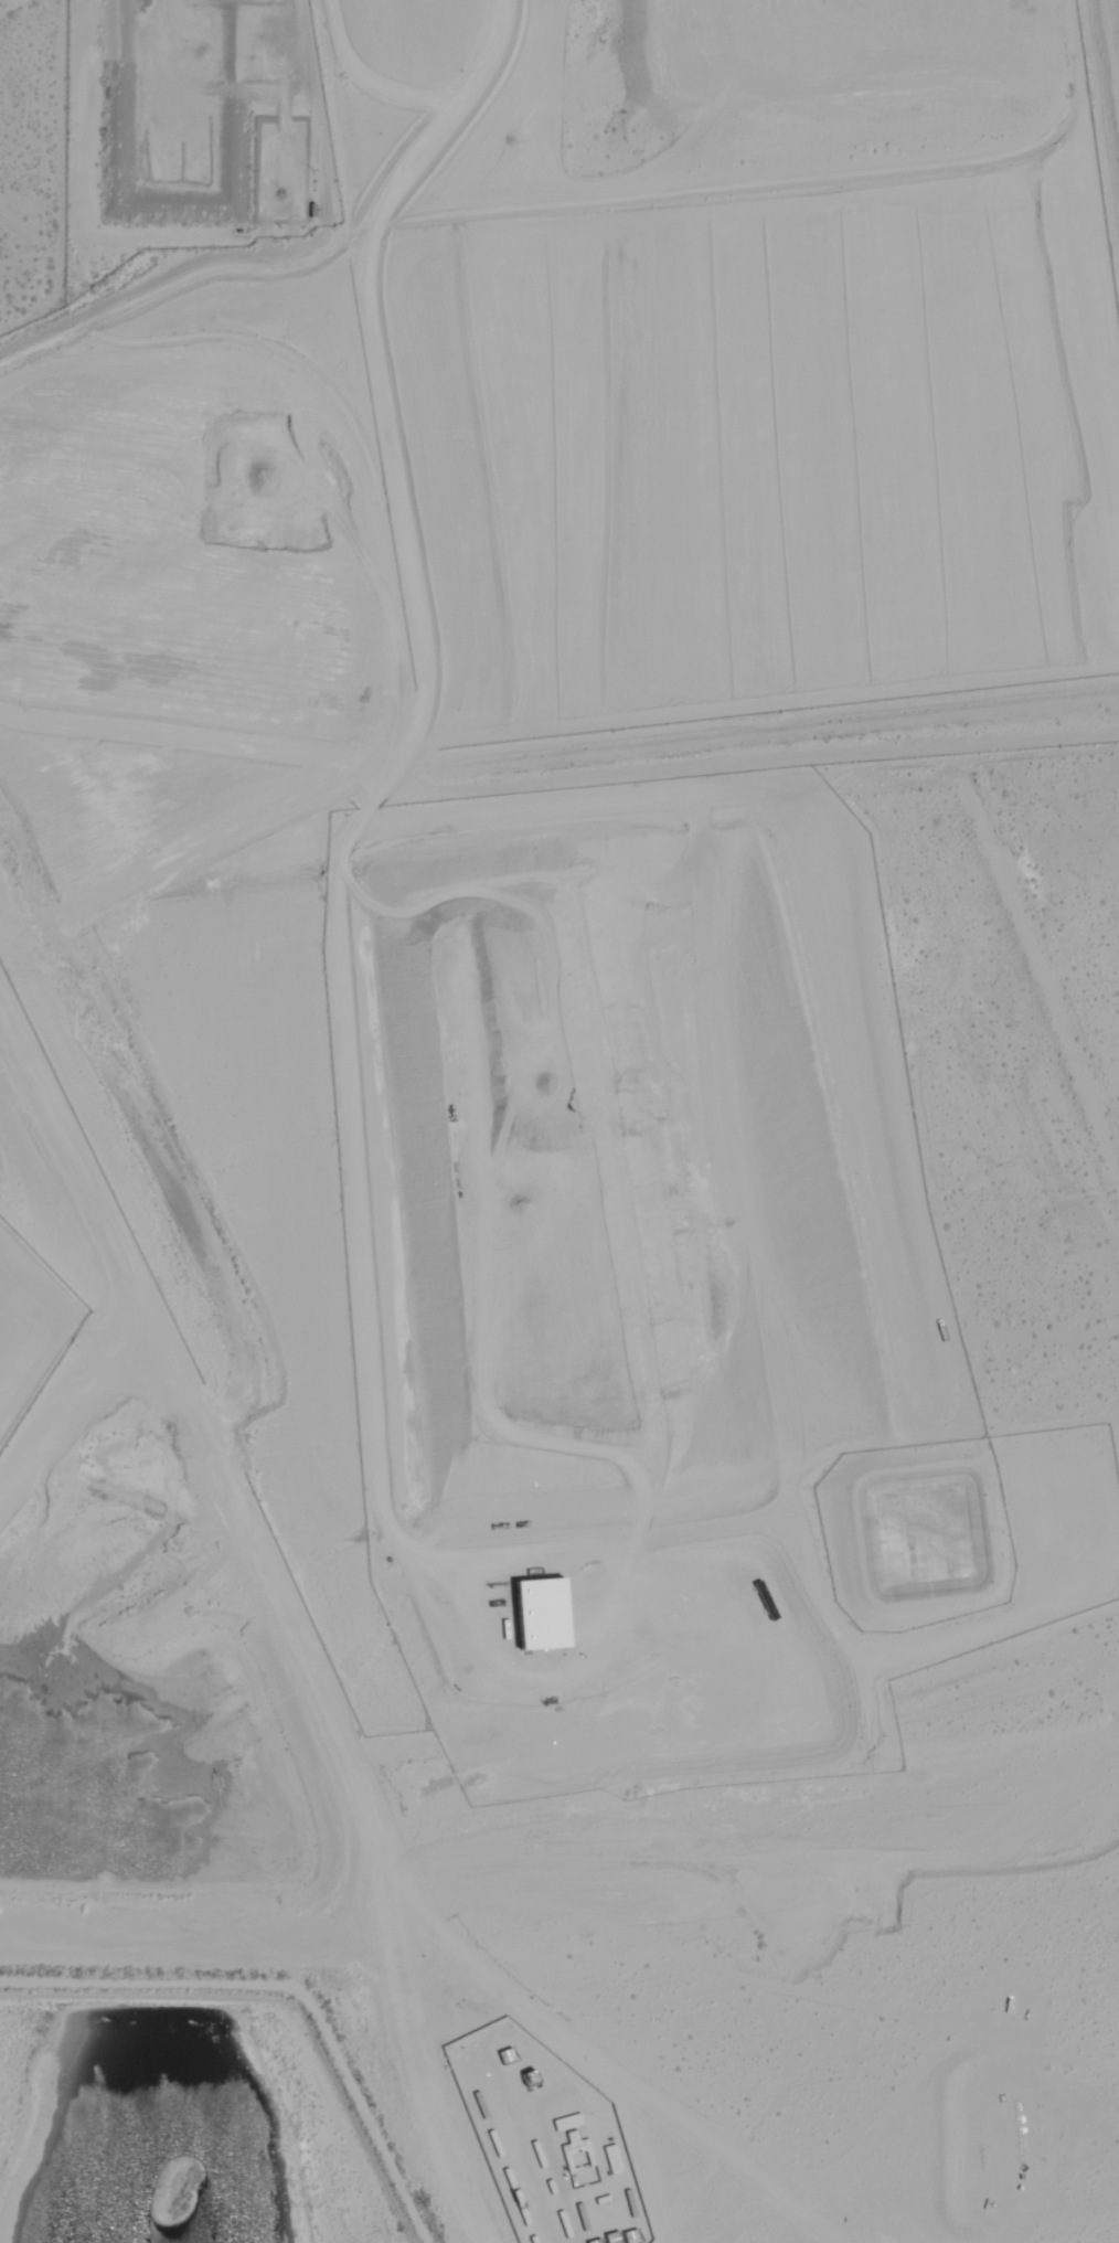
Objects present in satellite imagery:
road: (66, 1159)
road: (64, 1396)
building: (546, 1615)
road: (332, 1762)
building: (533, 2080)
building: (584, 2176)
building: (632, 2237)

